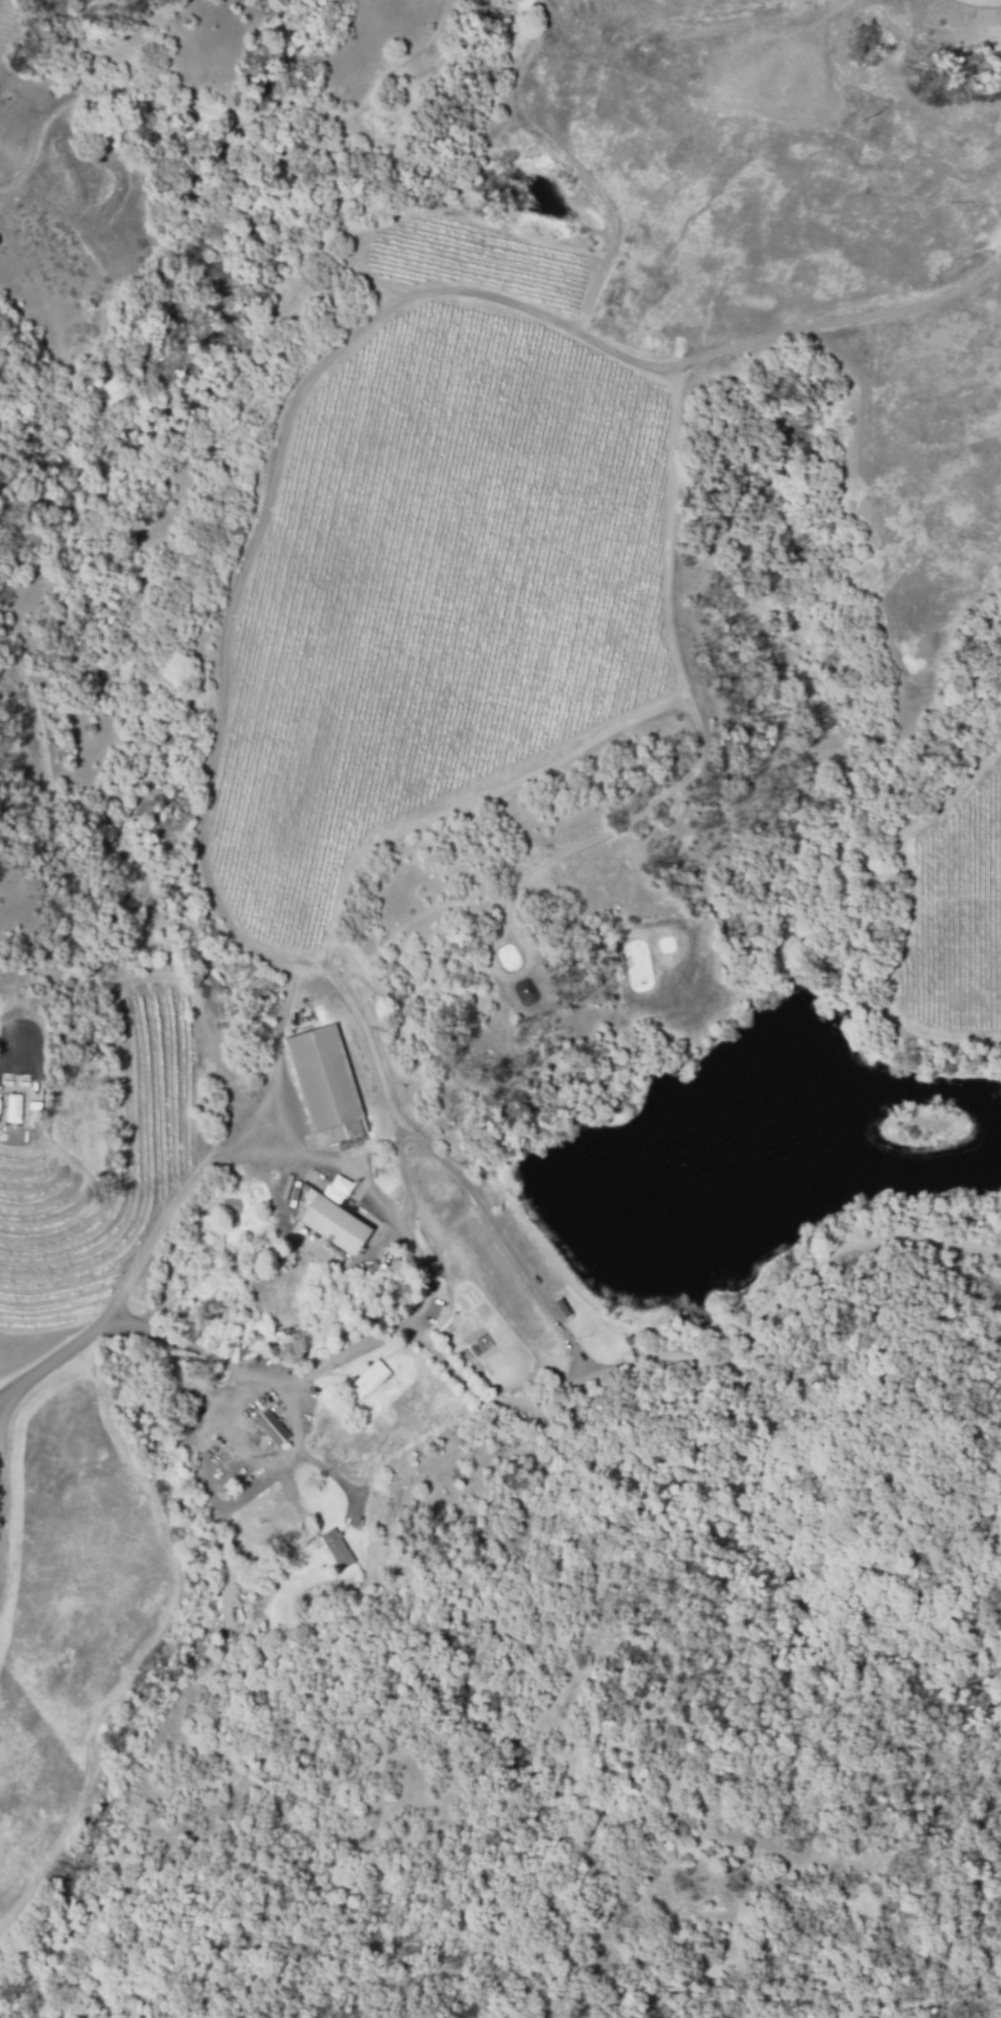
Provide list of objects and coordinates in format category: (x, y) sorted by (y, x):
road: (4, 1068)
building: (326, 1082)
building: (1, 1102)
building: (320, 1137)
road: (232, 1152)
building: (343, 1181)
building: (332, 1191)
building: (232, 1204)
building: (232, 1220)
building: (336, 1224)
road: (396, 1328)
road: (52, 1359)
building: (371, 1377)
building: (315, 1423)
building: (273, 1426)
road: (236, 1442)
road: (303, 1454)
building: (277, 1518)
building: (337, 1547)

